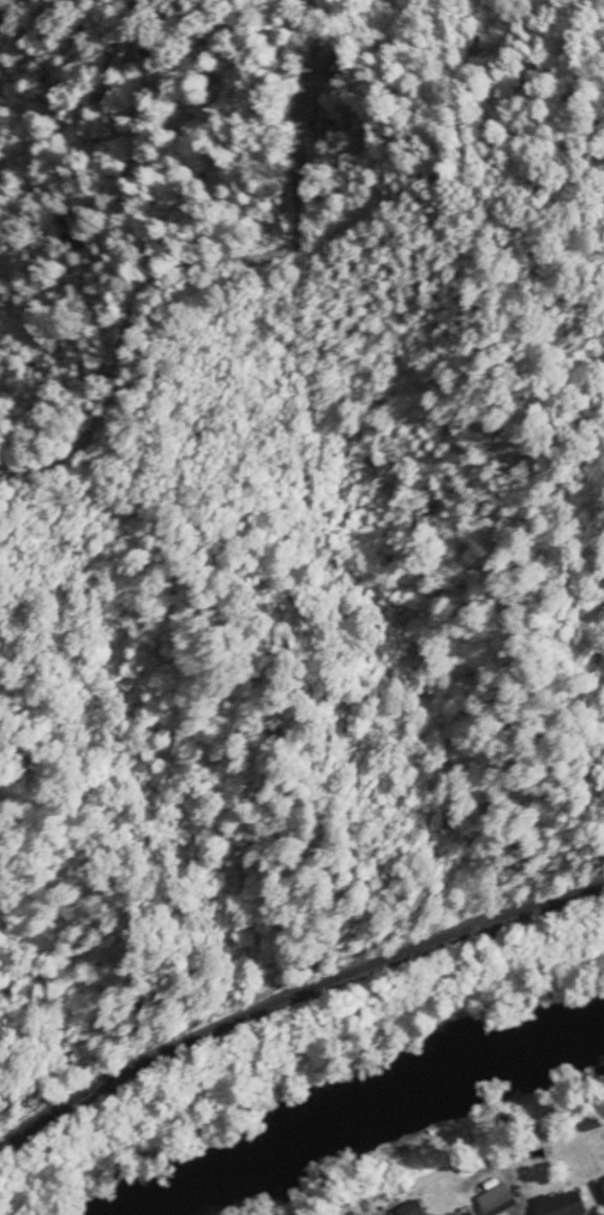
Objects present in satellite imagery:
railway: (292, 995)
river: (349, 1109)
building: (600, 1187)
building: (562, 1203)
building: (470, 1213)

